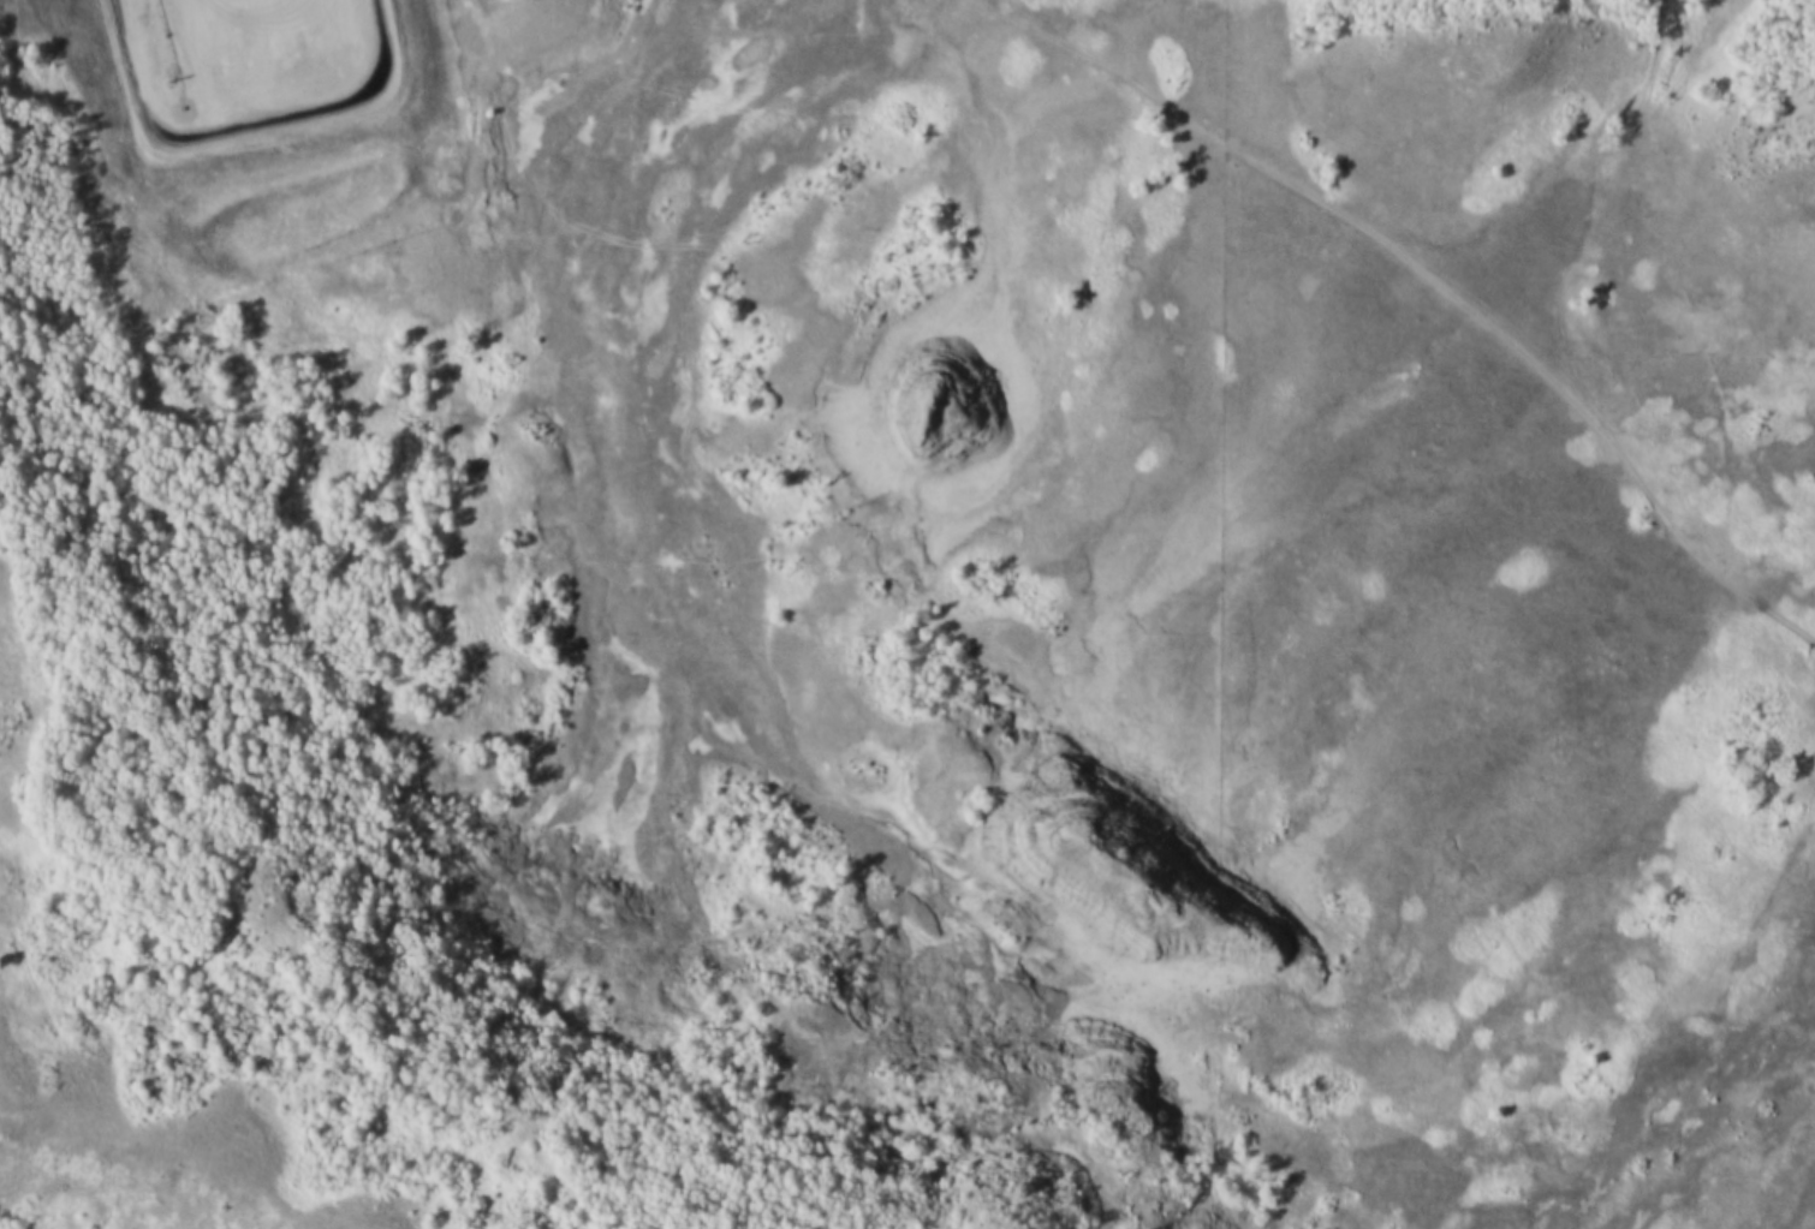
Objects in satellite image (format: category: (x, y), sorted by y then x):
road: (222, 4)
road: (1404, 320)

